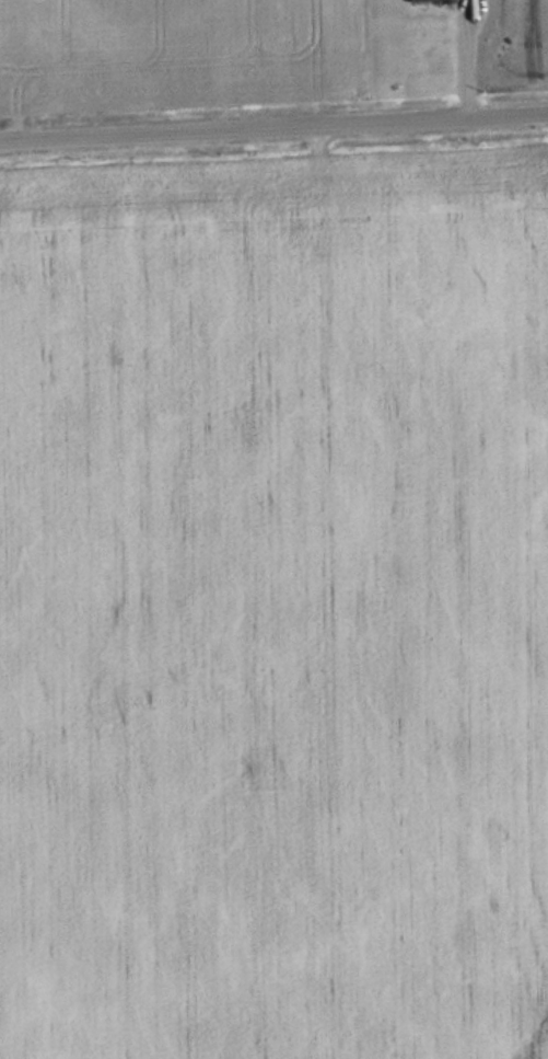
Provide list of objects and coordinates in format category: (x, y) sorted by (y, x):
building: (409, 0)
road: (273, 124)

